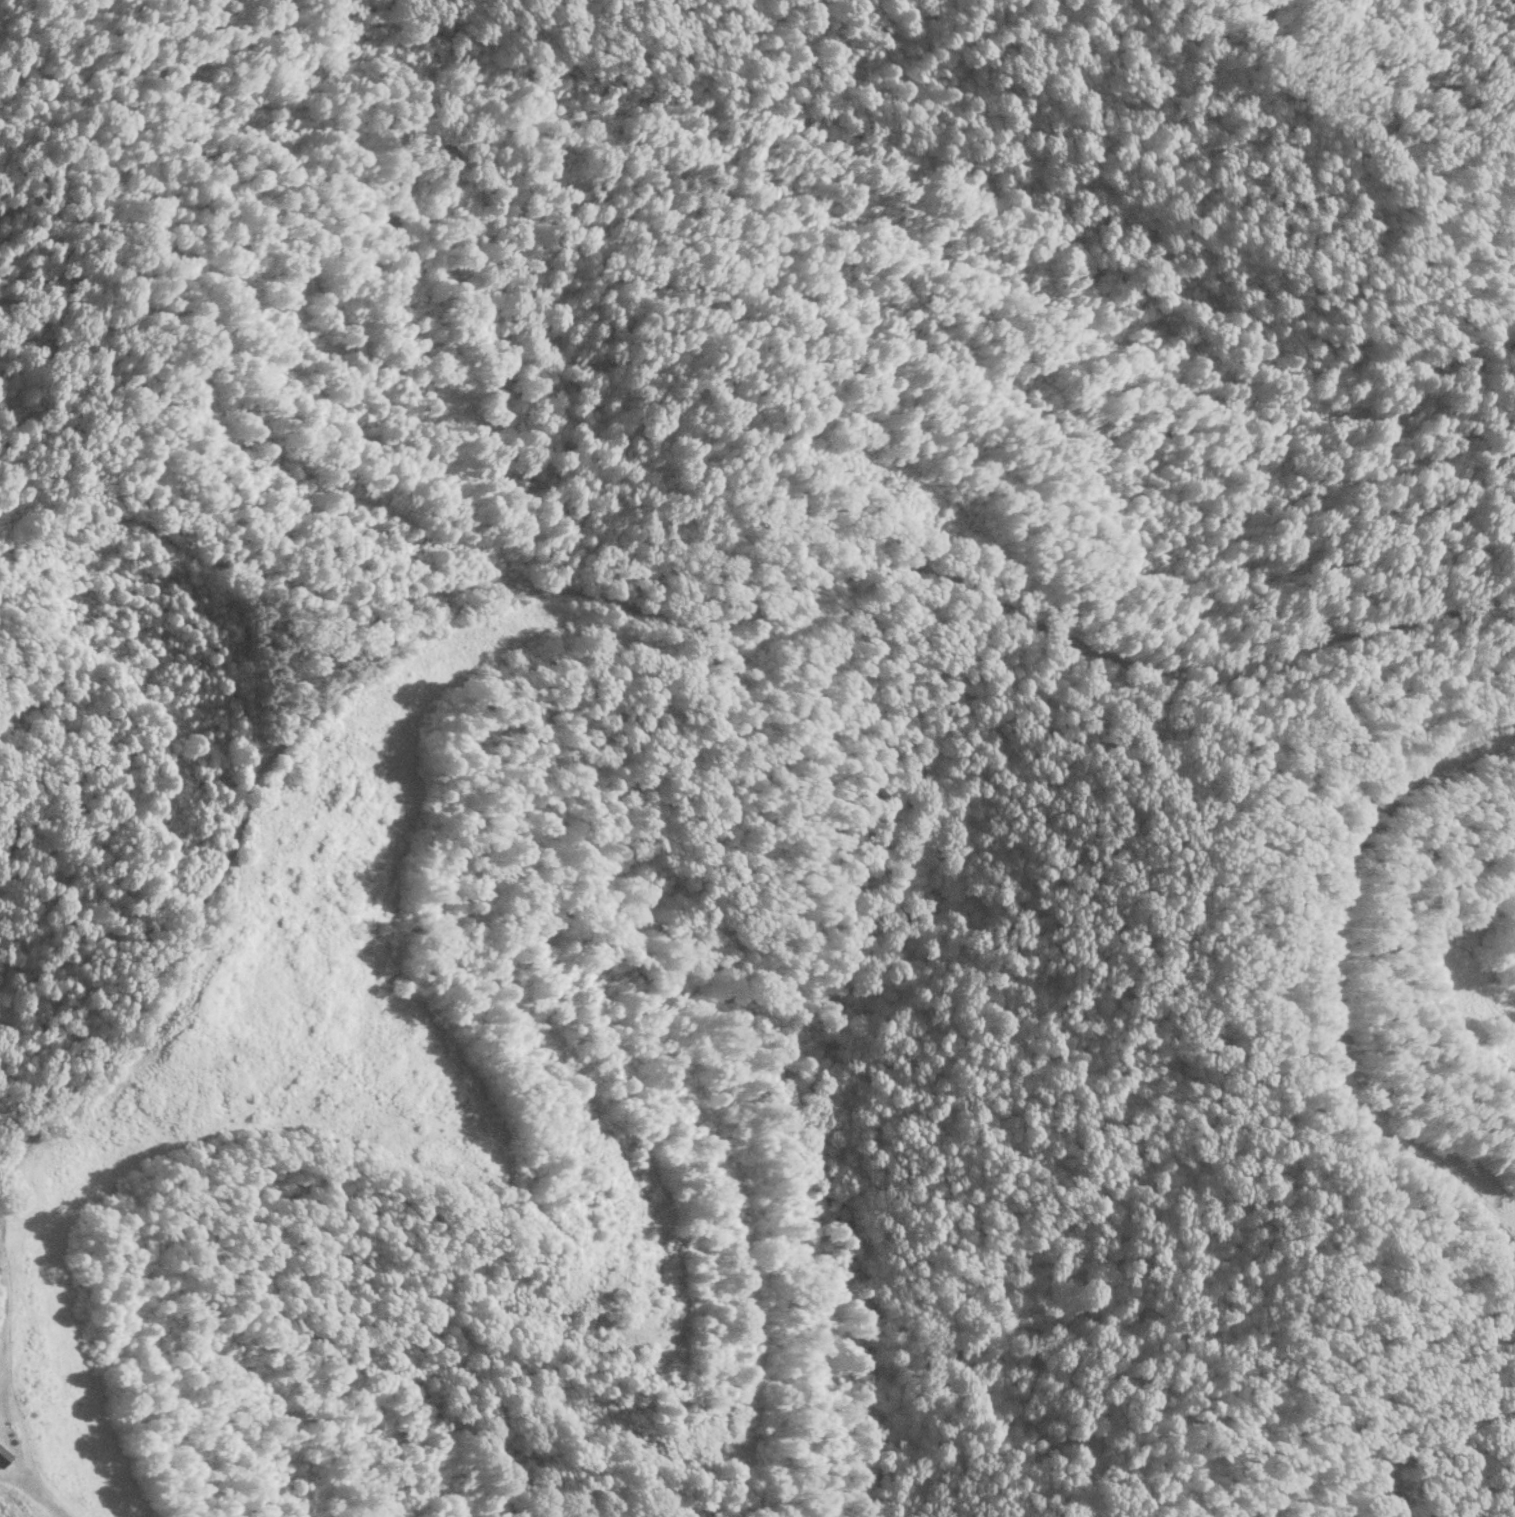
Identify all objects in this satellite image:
road: (606, 625)
road: (1359, 986)

